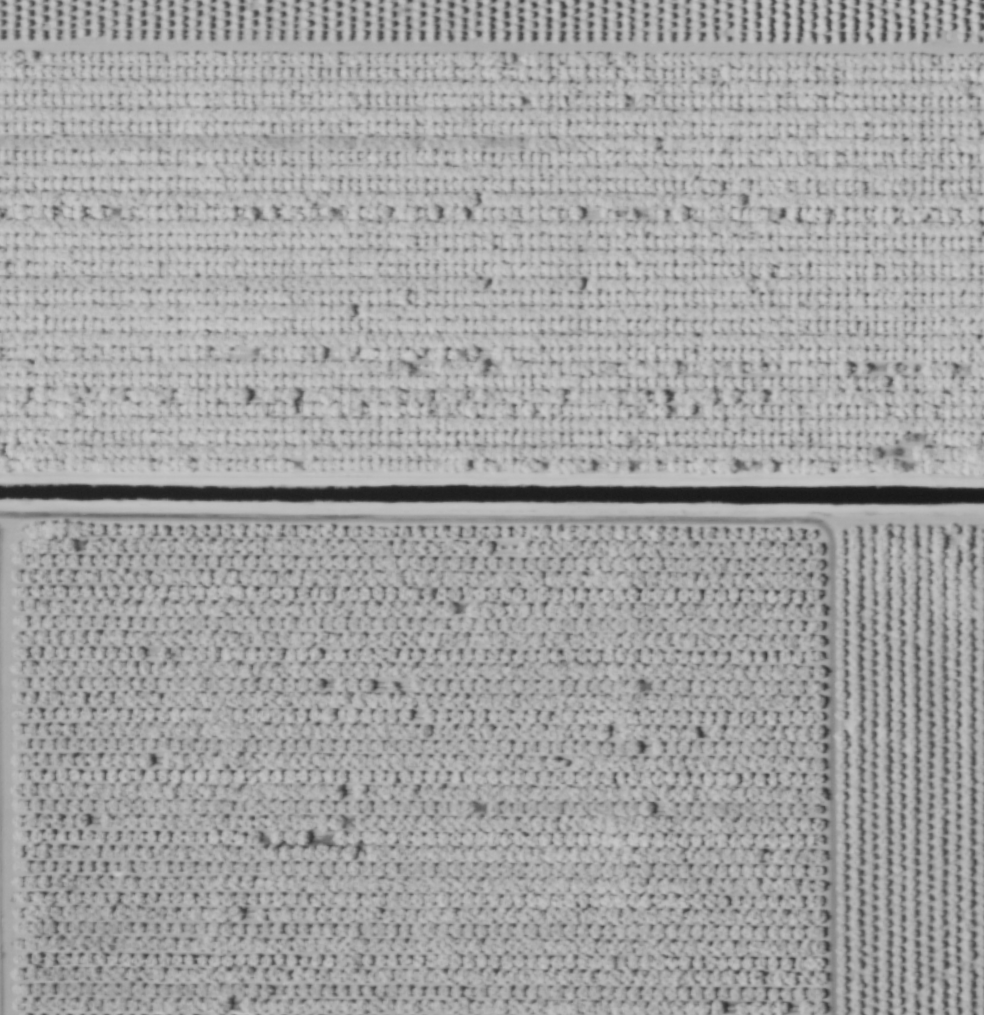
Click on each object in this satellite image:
crop: (494, 30)
road: (492, 39)
crop: (492, 283)
road: (491, 512)
road: (11, 762)
road: (829, 765)

